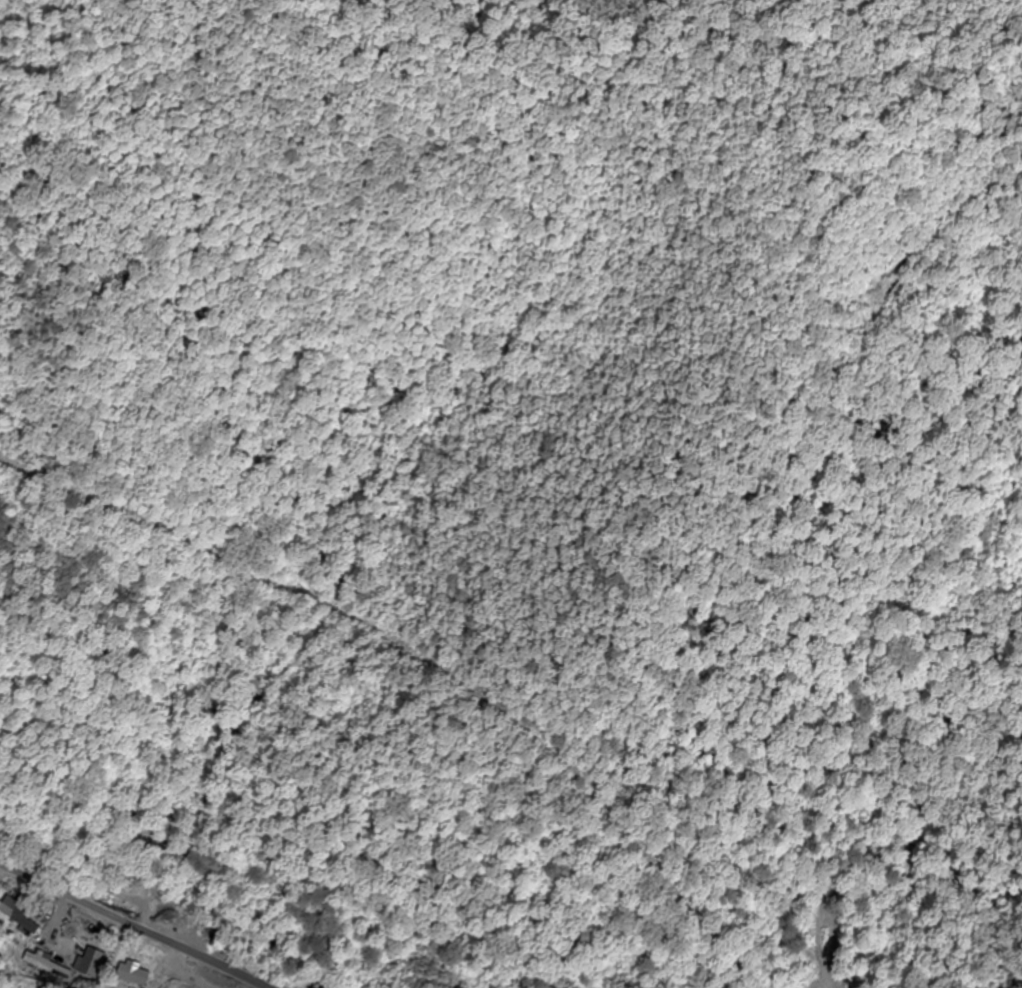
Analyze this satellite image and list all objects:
building: (18, 910)
road: (131, 924)
building: (93, 959)
building: (48, 961)
building: (134, 971)

